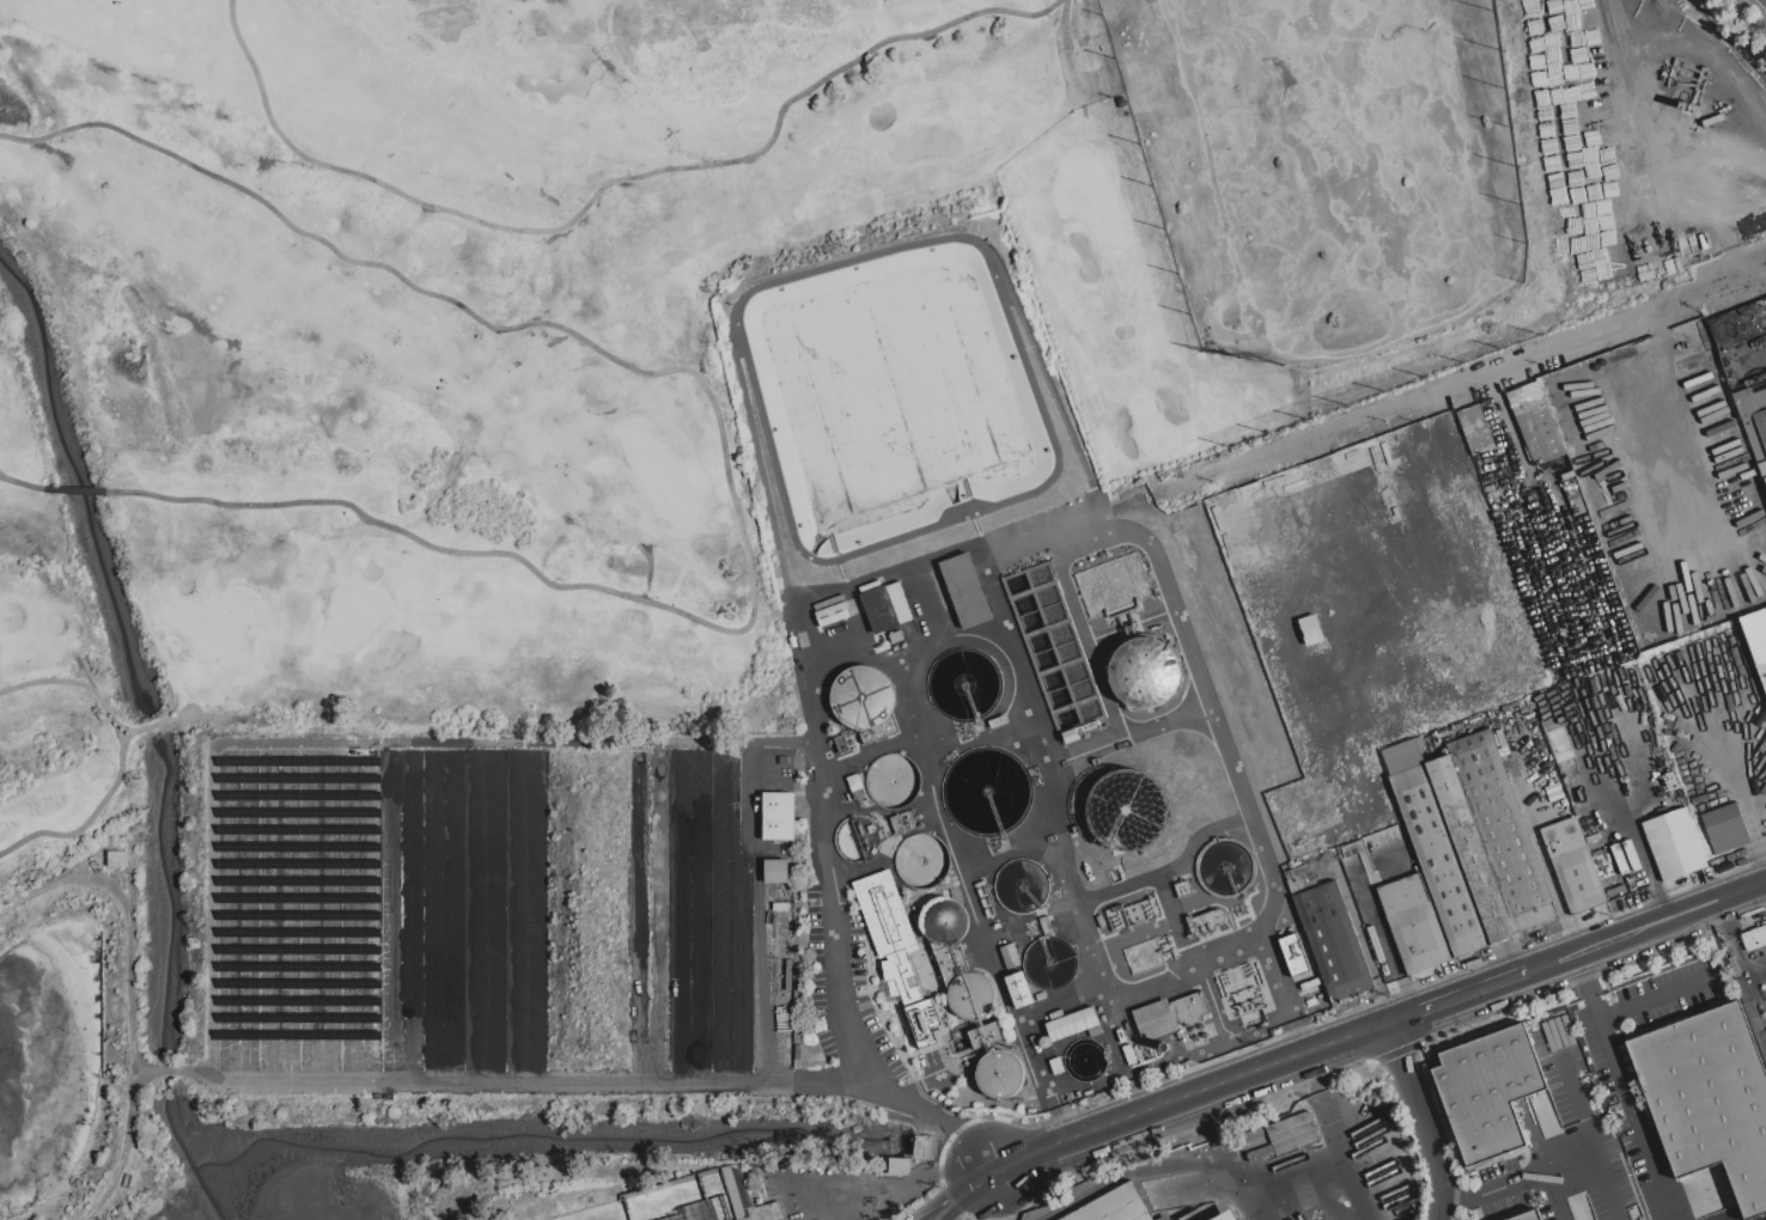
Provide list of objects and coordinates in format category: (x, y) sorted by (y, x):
road: (1064, 48)
park: (1329, 167)
road: (605, 184)
park: (701, 309)
building: (1687, 349)
building: (1644, 370)
road: (1459, 388)
building: (1754, 420)
road: (1627, 422)
building: (1541, 425)
building: (1475, 428)
road: (724, 452)
road: (22, 482)
road: (75, 490)
road: (1685, 498)
road: (1077, 525)
road: (1632, 526)
road: (1540, 580)
building: (964, 590)
building: (885, 606)
building: (830, 614)
building: (1310, 629)
road: (1187, 648)
building: (1144, 673)
building: (1761, 675)
road: (79, 684)
building: (865, 701)
road: (195, 709)
road: (1350, 724)
road: (145, 726)
road: (145, 726)
building: (1402, 757)
road: (833, 765)
wastewater plant: (823, 785)
building: (778, 815)
road: (92, 816)
building: (1585, 818)
road: (1217, 824)
building: (1724, 825)
building: (1503, 832)
building: (1674, 844)
building: (1470, 850)
building: (1624, 856)
building: (1441, 861)
road: (1650, 862)
building: (1603, 867)
building: (775, 871)
building: (1303, 878)
building: (1581, 879)
road: (1729, 897)
building: (1413, 923)
road: (1634, 933)
building: (1755, 938)
building: (1333, 940)
building: (895, 950)
building: (1293, 954)
building: (957, 962)
road: (1553, 963)
road: (1278, 987)
building: (1018, 989)
road: (1656, 996)
road: (138, 999)
building: (1753, 1013)
building: (1169, 1014)
building: (1073, 1024)
building: (985, 1035)
road: (1024, 1041)
building: (999, 1074)
road: (497, 1084)
road: (1625, 1087)
building: (1488, 1090)
road: (1186, 1097)
building: (1710, 1097)
road: (1420, 1121)
building: (1280, 1137)
road: (1192, 1159)
building: (899, 1165)
road: (1342, 1166)
road: (1553, 1166)
road: (900, 1187)
road: (974, 1188)
road: (1554, 1195)
building: (747, 1197)
road: (1405, 1201)
road: (1253, 1206)
building: (1115, 1207)
road: (936, 1215)
road: (944, 1215)
building: (1226, 1215)
building: (1528, 1215)
building: (1163, 1218)
building: (1759, 1218)
building: (1064, 1219)

